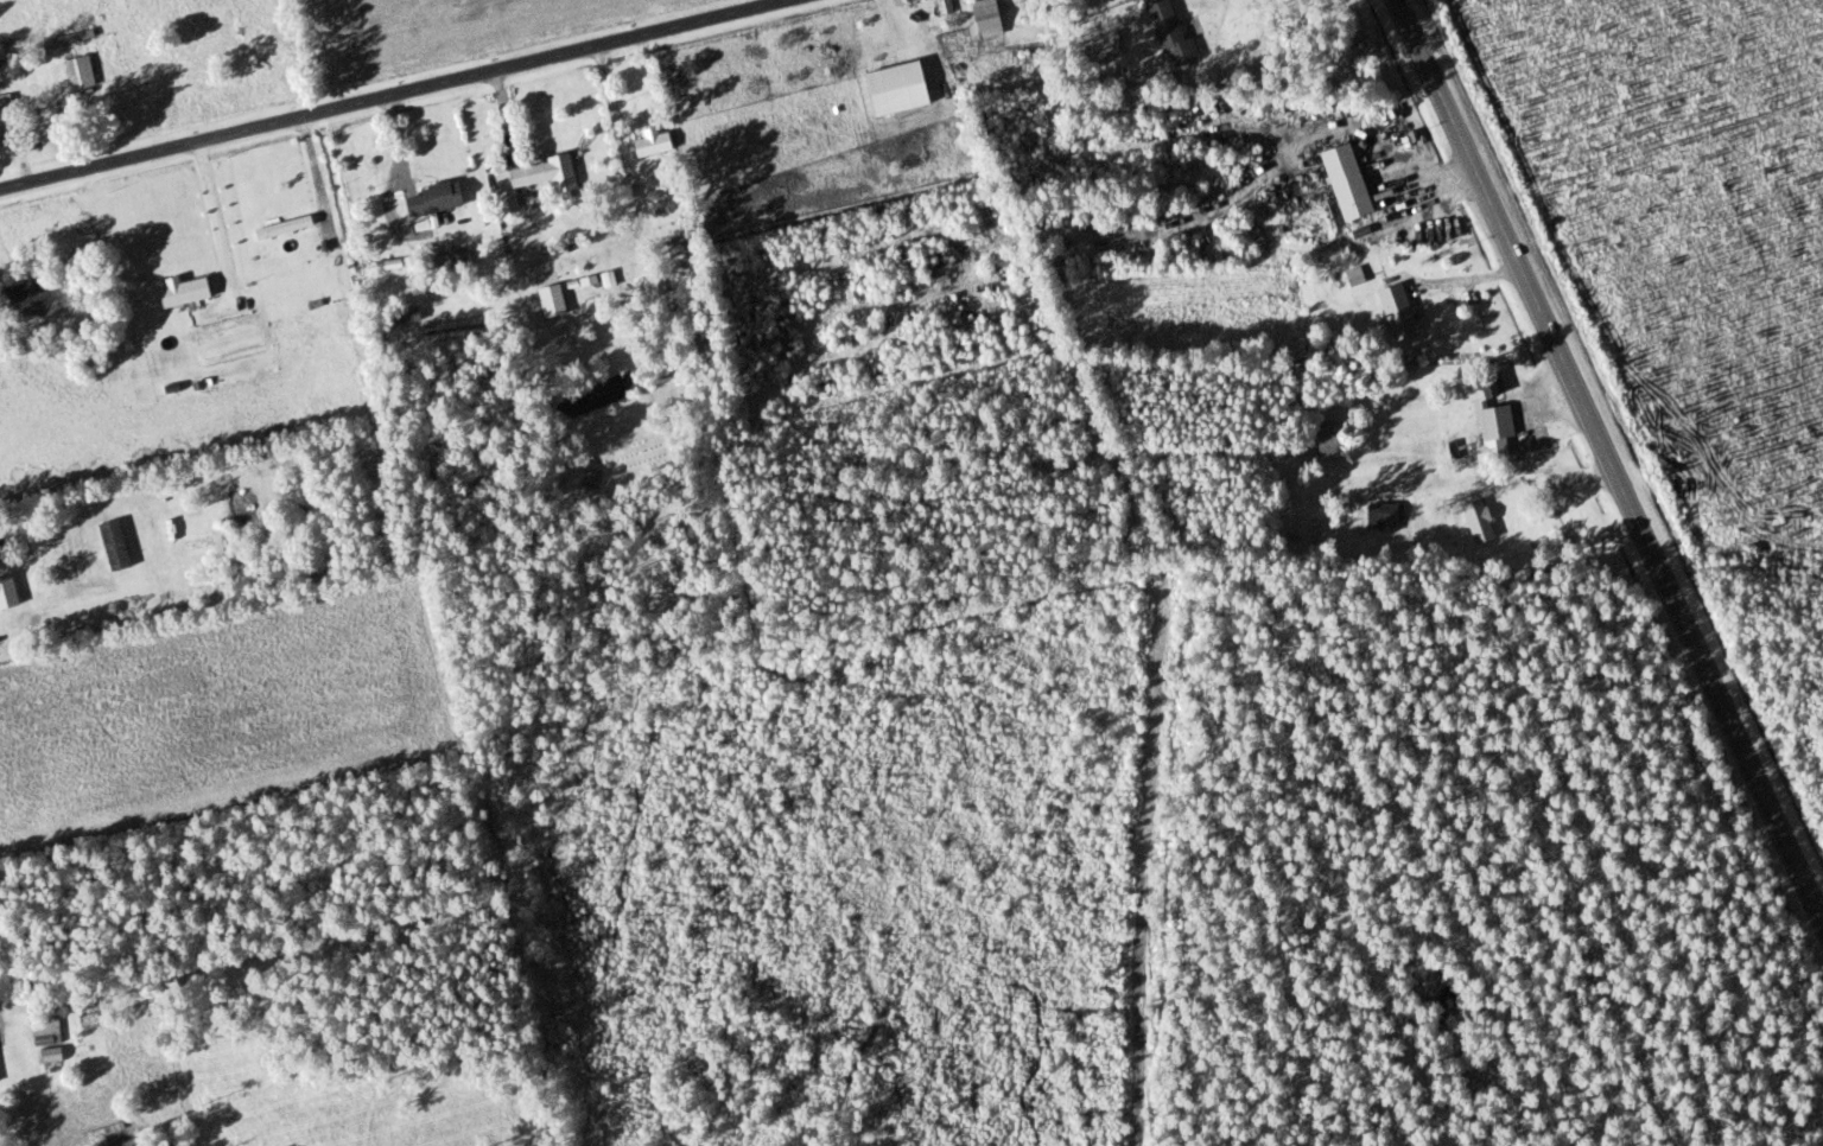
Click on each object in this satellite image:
building: (984, 15)
building: (1167, 32)
building: (70, 37)
building: (78, 72)
road: (394, 95)
building: (6, 116)
building: (649, 142)
building: (539, 173)
building: (1345, 182)
building: (431, 199)
building: (503, 202)
building: (281, 227)
building: (182, 292)
building: (1396, 312)
building: (1487, 384)
building: (1494, 420)
road: (1116, 431)
building: (1319, 435)
road: (1612, 458)
building: (1381, 516)
building: (1478, 520)
building: (113, 545)
road: (1146, 870)

